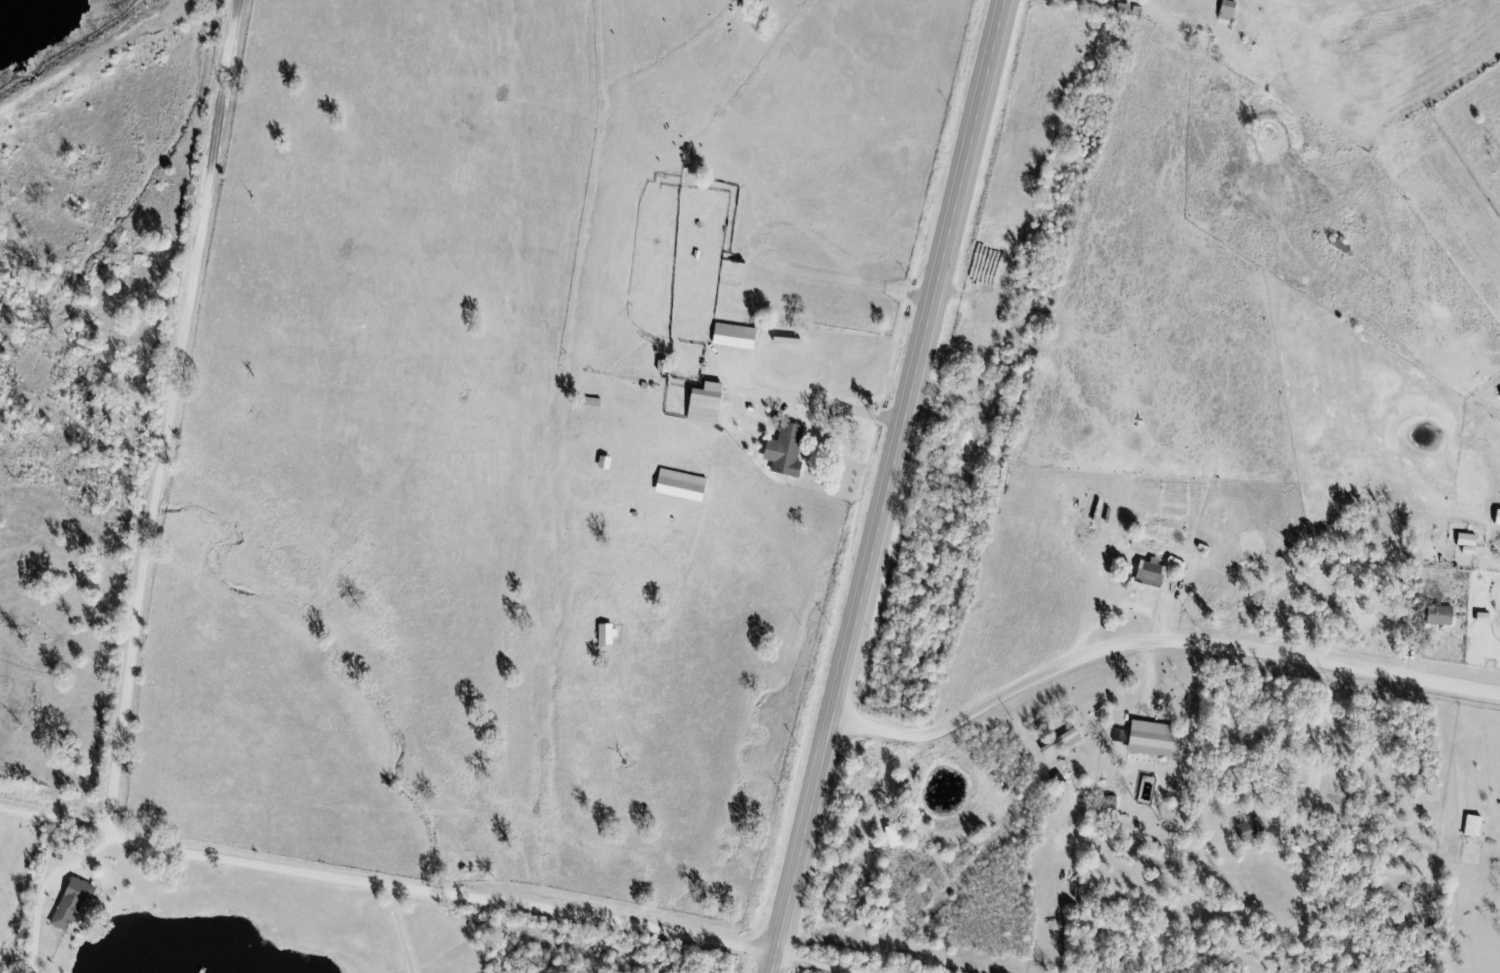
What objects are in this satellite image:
building: (738, 338)
building: (666, 367)
building: (710, 405)
road: (171, 414)
building: (789, 452)
road: (890, 486)
railway: (980, 486)
building: (685, 487)
building: (1499, 526)
building: (1470, 545)
building: (1153, 575)
building: (1444, 617)
building: (610, 636)
road: (1159, 641)
building: (1154, 741)
road: (54, 818)
building: (1476, 828)
building: (1297, 845)
road: (48, 888)
road: (445, 893)
building: (74, 908)
road: (403, 930)
road: (811, 967)

